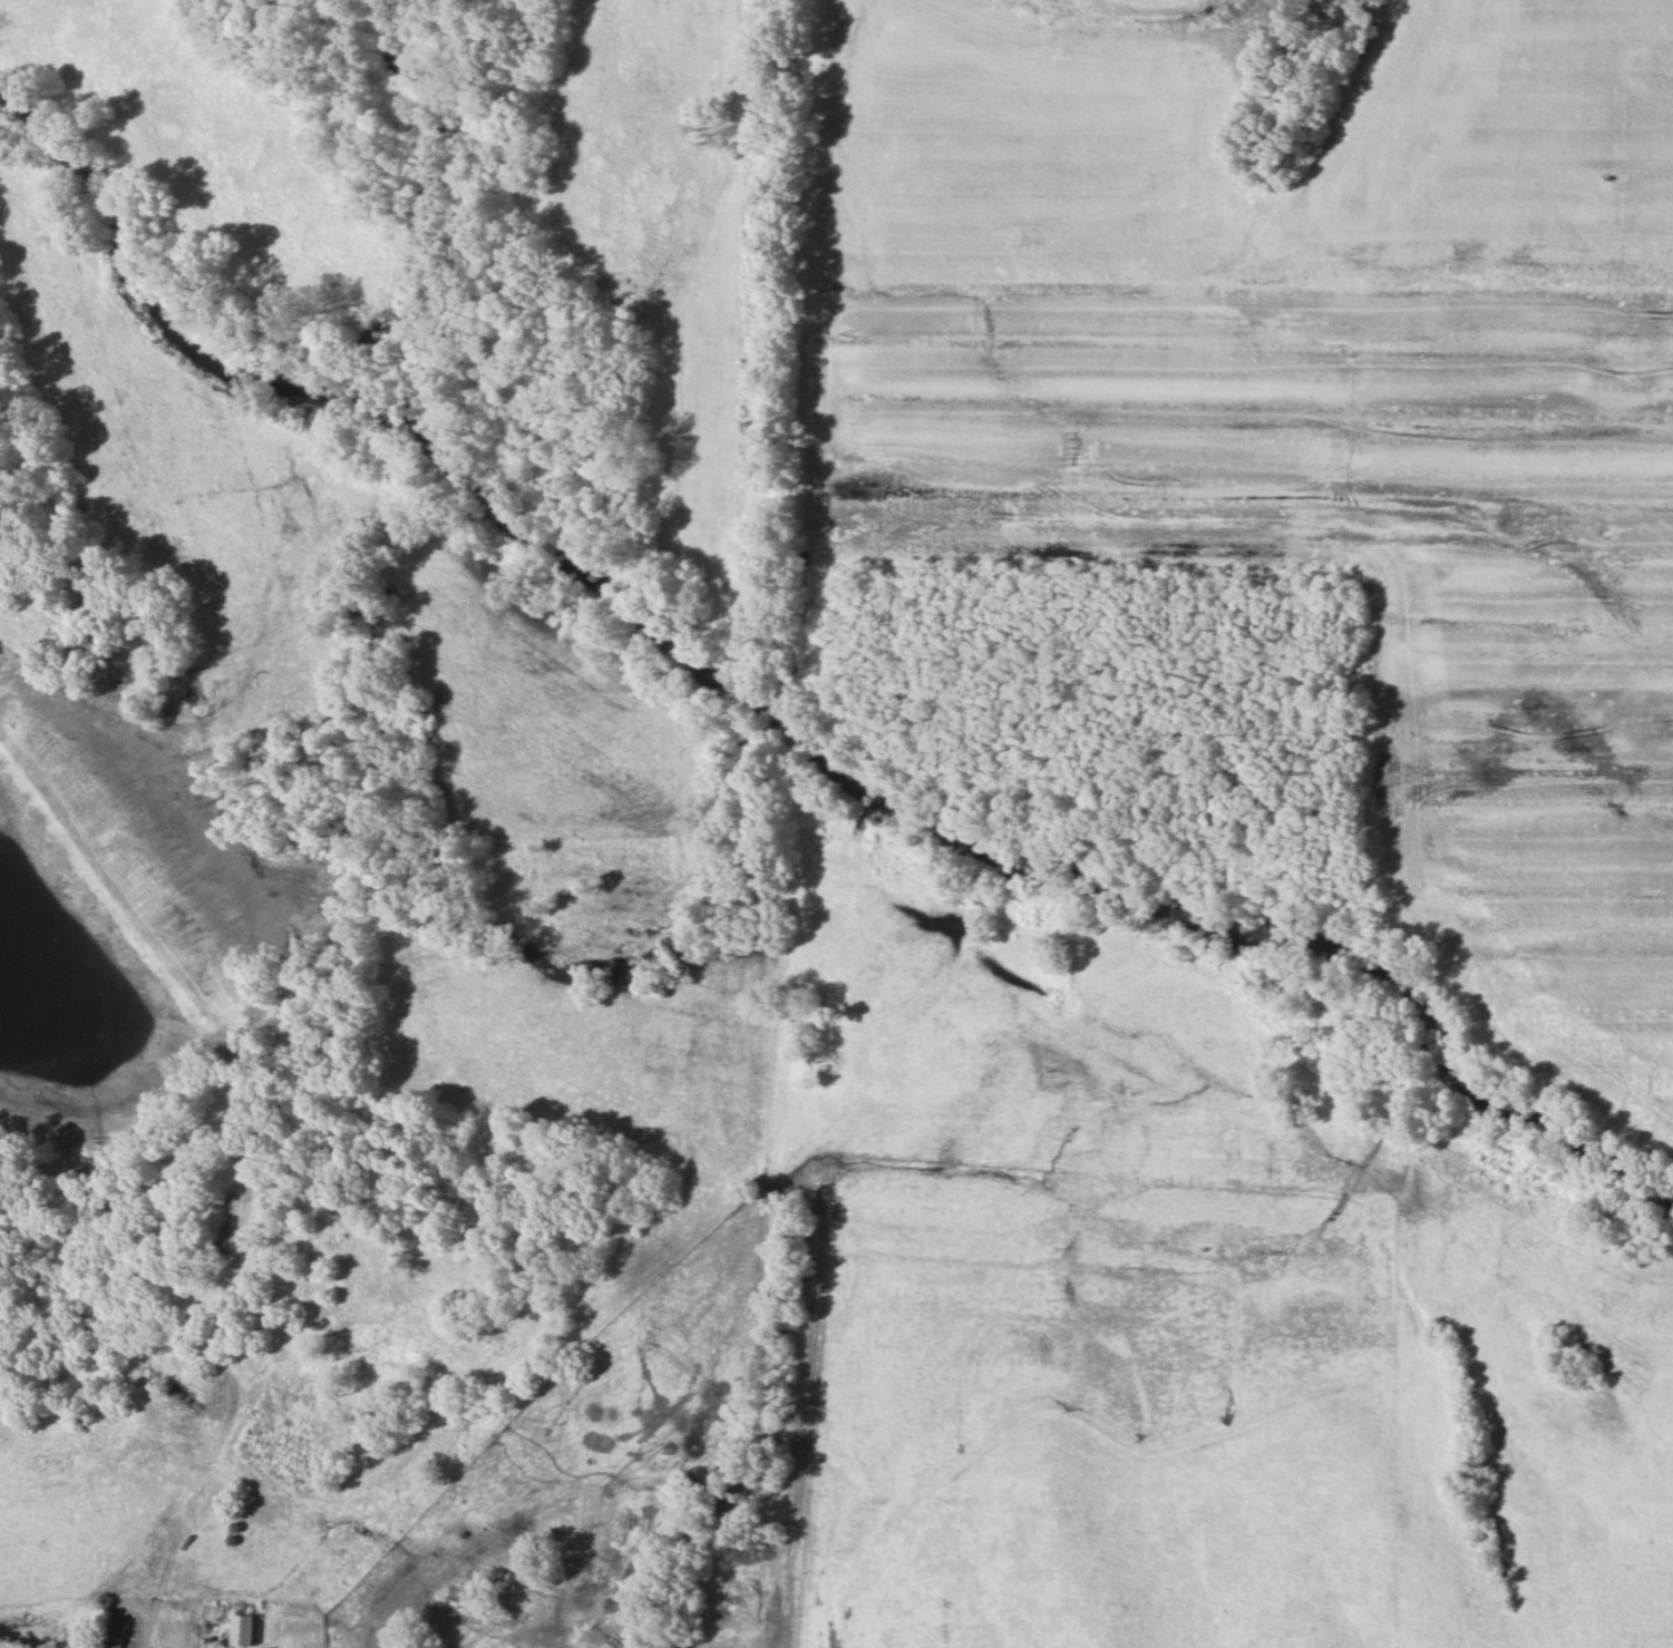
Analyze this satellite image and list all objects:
building: (247, 1630)
building: (211, 1634)
building: (109, 1645)

